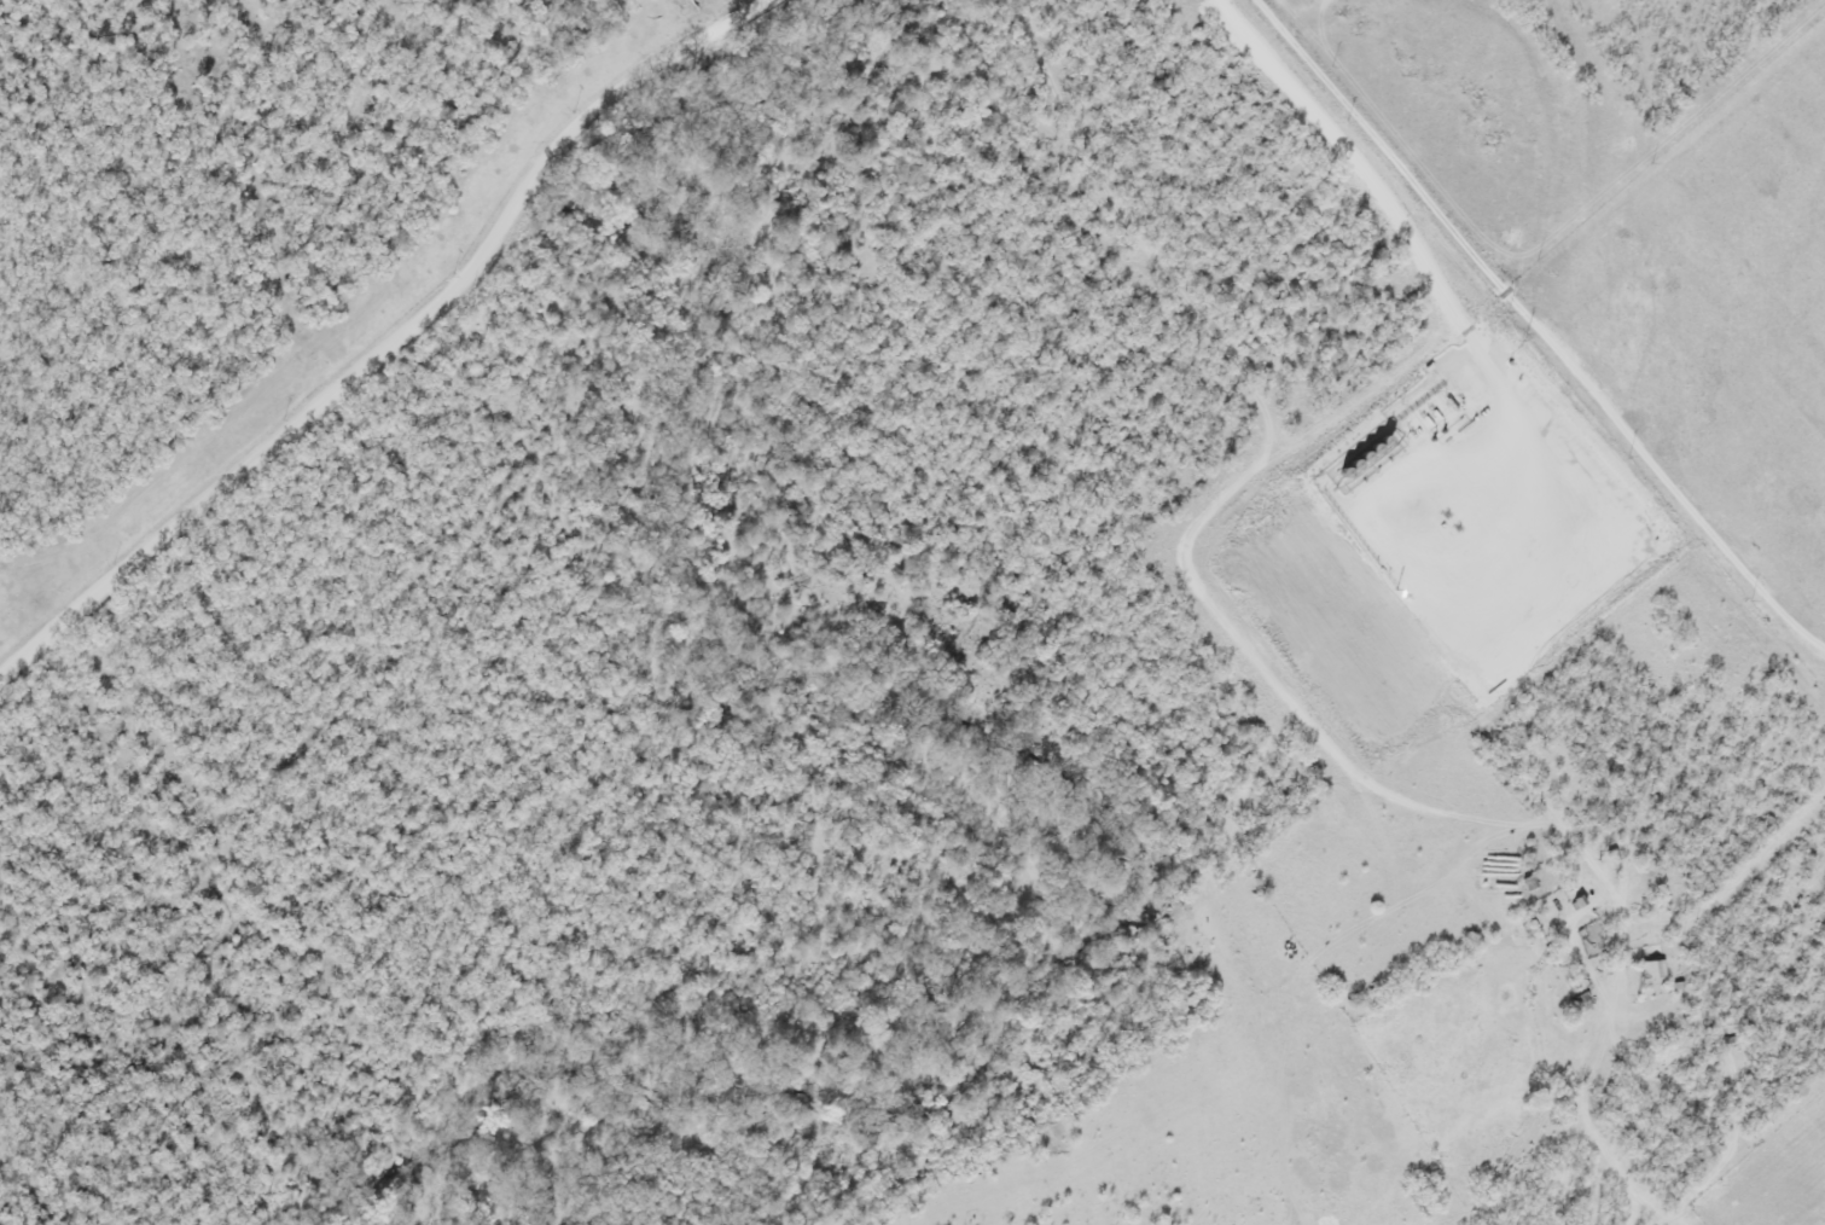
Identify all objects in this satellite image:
road: (1538, 333)
road: (393, 348)

